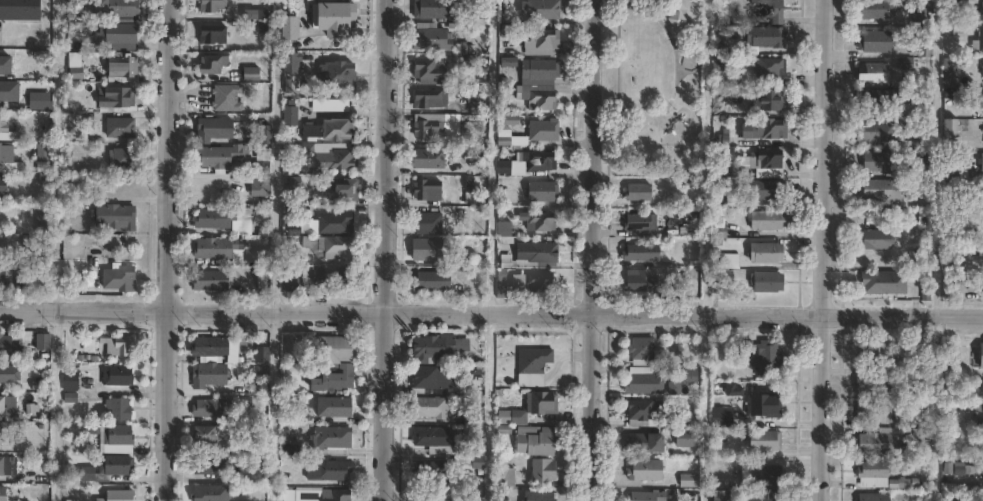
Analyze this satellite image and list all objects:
building: (210, 5)
building: (96, 7)
building: (948, 7)
building: (876, 8)
building: (429, 9)
building: (541, 9)
building: (766, 9)
building: (19, 10)
building: (125, 10)
building: (980, 13)
building: (331, 16)
building: (919, 16)
building: (287, 27)
building: (122, 33)
building: (210, 34)
building: (427, 37)
building: (763, 38)
building: (539, 41)
building: (873, 41)
building: (978, 41)
building: (924, 47)
building: (287, 62)
building: (722, 63)
building: (210, 64)
building: (6, 66)
building: (768, 66)
building: (981, 67)
building: (125, 69)
building: (427, 70)
building: (537, 72)
building: (872, 72)
building: (249, 73)
building: (335, 75)
building: (947, 75)
park: (650, 87)
building: (7, 92)
building: (119, 97)
building: (225, 97)
building: (430, 98)
building: (540, 99)
building: (768, 99)
building: (879, 99)
building: (39, 102)
building: (982, 103)
building: (919, 111)
building: (288, 115)
building: (74, 117)
building: (505, 121)
building: (3, 126)
building: (953, 126)
building: (428, 127)
building: (118, 128)
building: (762, 128)
building: (213, 129)
building: (327, 130)
building: (871, 132)
building: (531, 133)
building: (262, 134)
building: (216, 155)
road: (491, 157)
building: (120, 158)
building: (427, 158)
building: (5, 159)
building: (43, 159)
building: (335, 159)
building: (761, 159)
building: (880, 161)
building: (980, 161)
building: (530, 162)
building: (478, 166)
building: (922, 166)
building: (953, 171)
building: (287, 181)
building: (2, 186)
building: (261, 188)
building: (210, 189)
building: (340, 189)
building: (425, 189)
building: (767, 189)
building: (540, 191)
building: (637, 192)
building: (880, 192)
building: (288, 212)
building: (471, 214)
building: (106, 216)
building: (211, 218)
building: (981, 218)
building: (5, 219)
building: (332, 219)
building: (766, 220)
building: (426, 221)
building: (539, 221)
building: (45, 222)
building: (639, 222)
building: (503, 230)
building: (875, 239)
building: (326, 246)
building: (214, 247)
building: (2, 248)
building: (425, 249)
building: (973, 249)
road: (165, 250)
road: (385, 250)
road: (593, 250)
road: (818, 250)
building: (541, 252)
building: (640, 252)
building: (765, 253)
building: (250, 256)
building: (726, 261)
building: (333, 275)
building: (117, 278)
building: (261, 278)
building: (36, 280)
building: (208, 280)
building: (1, 281)
building: (20, 281)
building: (427, 281)
building: (640, 281)
building: (765, 281)
building: (882, 282)
building: (287, 284)
building: (539, 284)
building: (69, 288)
road: (491, 315)
building: (43, 342)
building: (7, 345)
building: (113, 345)
building: (433, 347)
building: (206, 348)
building: (640, 348)
building: (331, 349)
building: (922, 353)
building: (261, 354)
building: (876, 354)
building: (760, 356)
building: (980, 356)
building: (532, 362)
building: (7, 374)
building: (119, 375)
building: (206, 375)
building: (688, 376)
building: (332, 378)
building: (432, 378)
building: (921, 378)
building: (73, 380)
building: (642, 384)
building: (871, 385)
building: (732, 390)
building: (540, 403)
building: (763, 405)
building: (7, 406)
building: (334, 407)
building: (122, 408)
building: (206, 408)
building: (429, 408)
building: (645, 413)
building: (872, 413)
building: (978, 413)
building: (506, 417)
building: (720, 417)
building: (472, 418)
building: (207, 434)
building: (0, 435)
building: (920, 435)
building: (331, 437)
building: (118, 438)
building: (685, 438)
building: (431, 439)
building: (534, 441)
building: (762, 441)
building: (877, 442)
building: (641, 443)
building: (288, 445)
building: (475, 445)
building: (245, 447)
building: (468, 462)
building: (6, 465)
building: (121, 465)
building: (205, 466)
building: (326, 470)
building: (642, 470)
building: (540, 471)
building: (982, 471)
building: (88, 473)
building: (431, 473)
building: (872, 474)
building: (764, 475)
building: (503, 477)
building: (688, 480)
building: (904, 483)
building: (4, 493)
building: (206, 493)
building: (122, 495)
building: (287, 495)
building: (333, 495)
building: (538, 495)
building: (717, 495)
building: (647, 496)
building: (760, 496)
building: (873, 497)
building: (71, 500)

